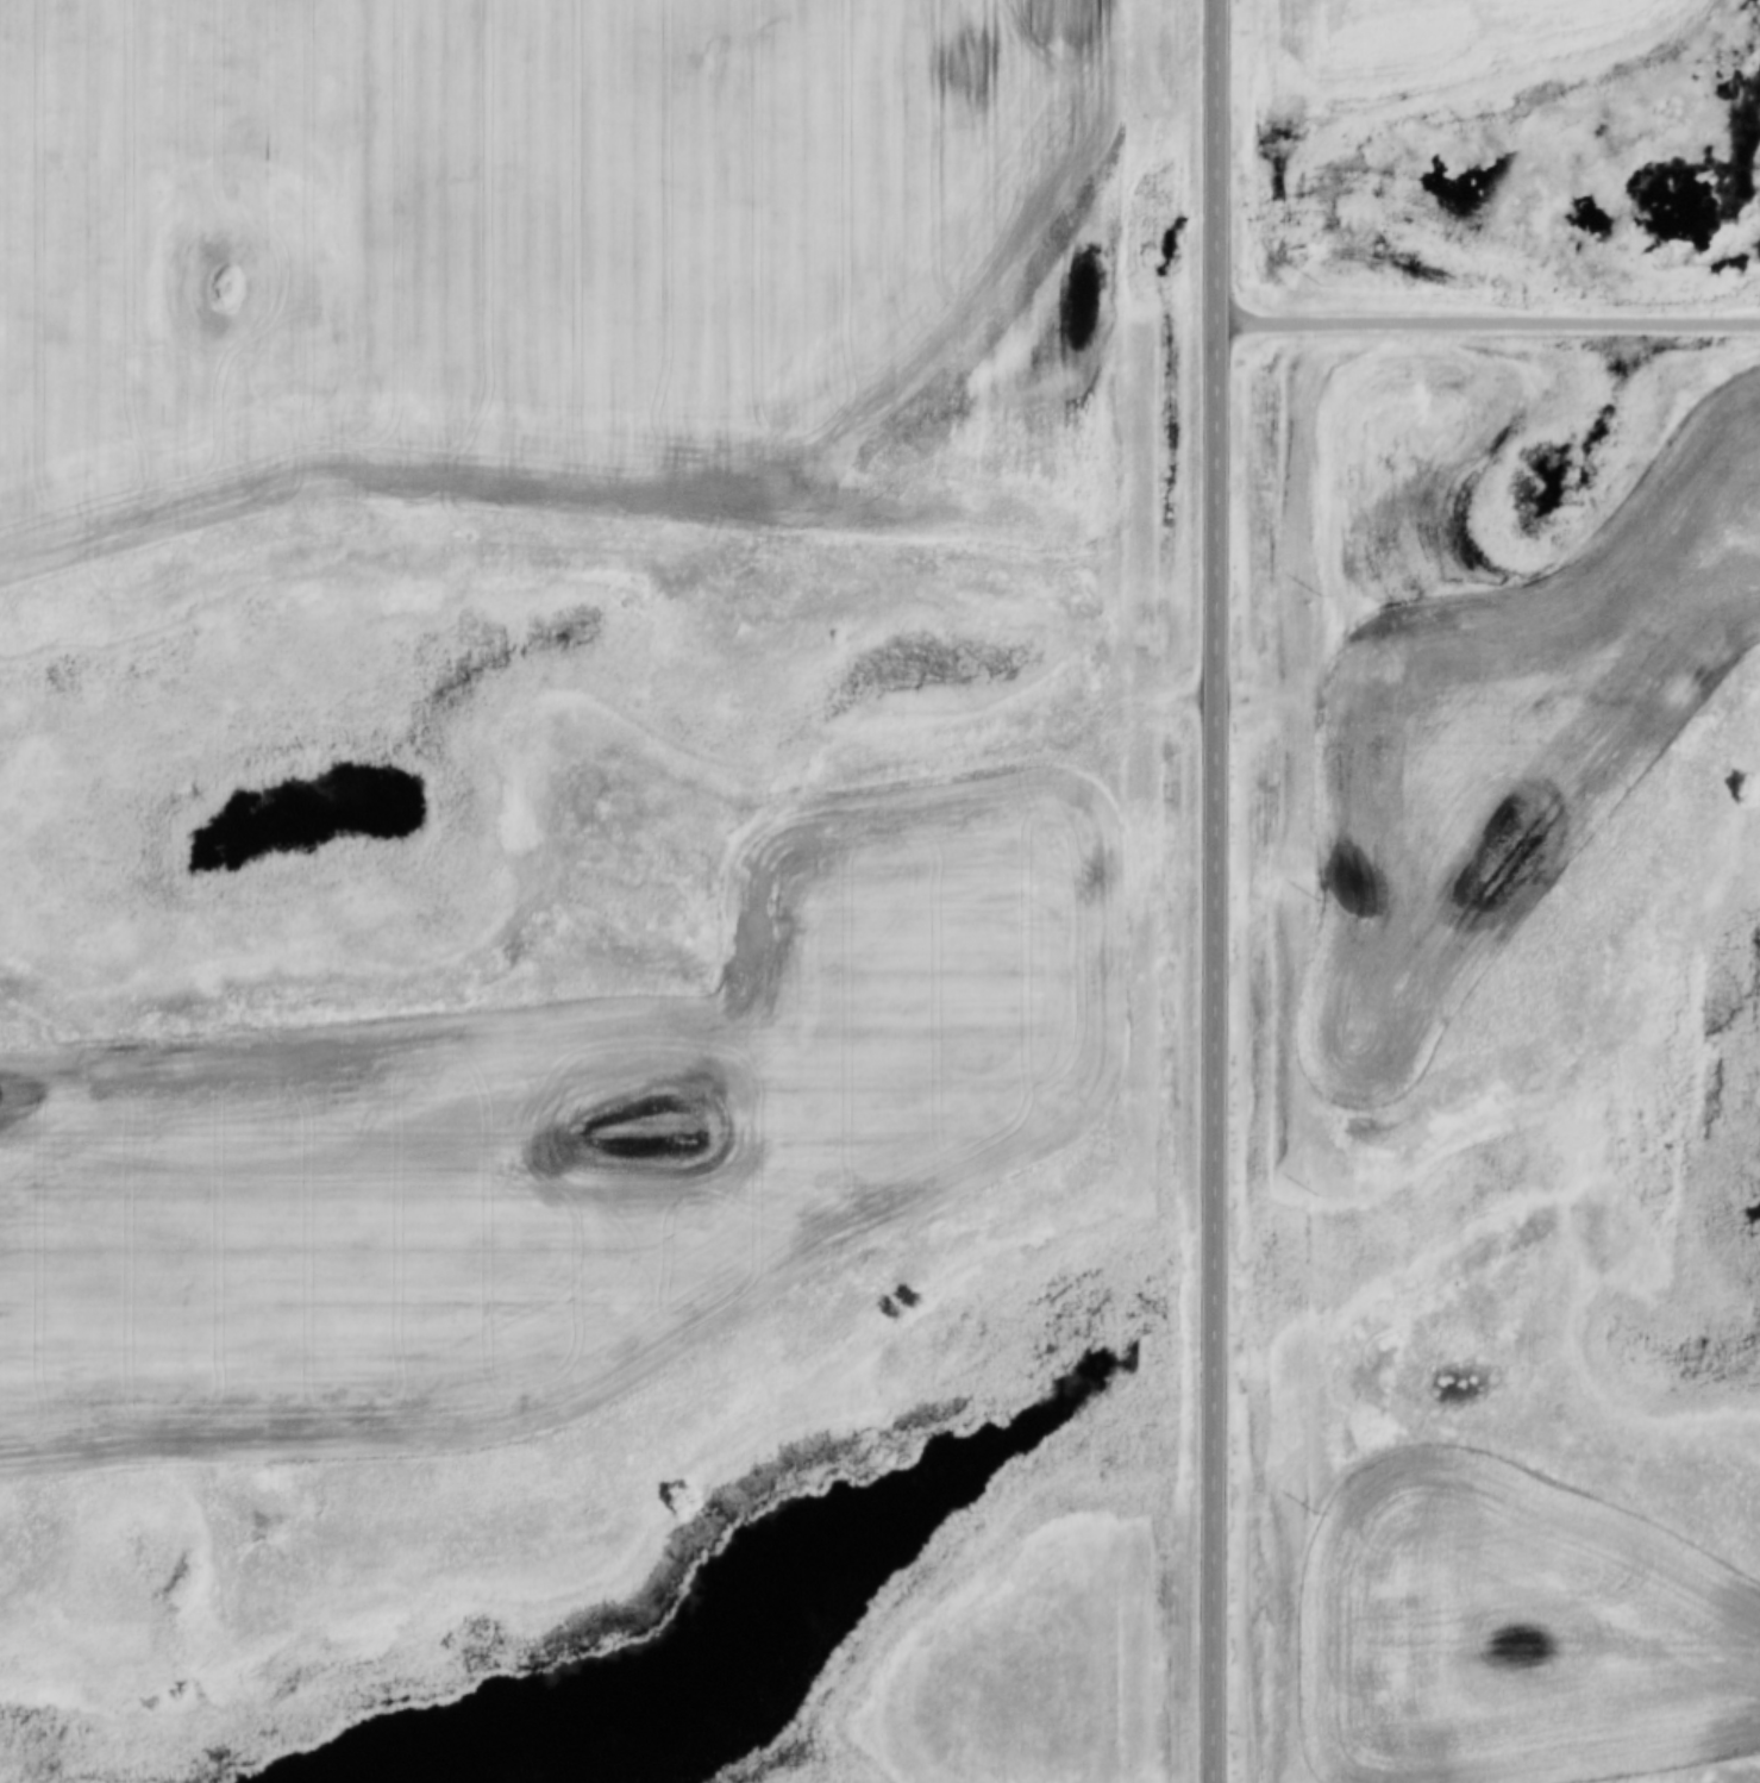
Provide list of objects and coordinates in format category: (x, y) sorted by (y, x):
road: (1486, 325)
road: (1215, 890)

